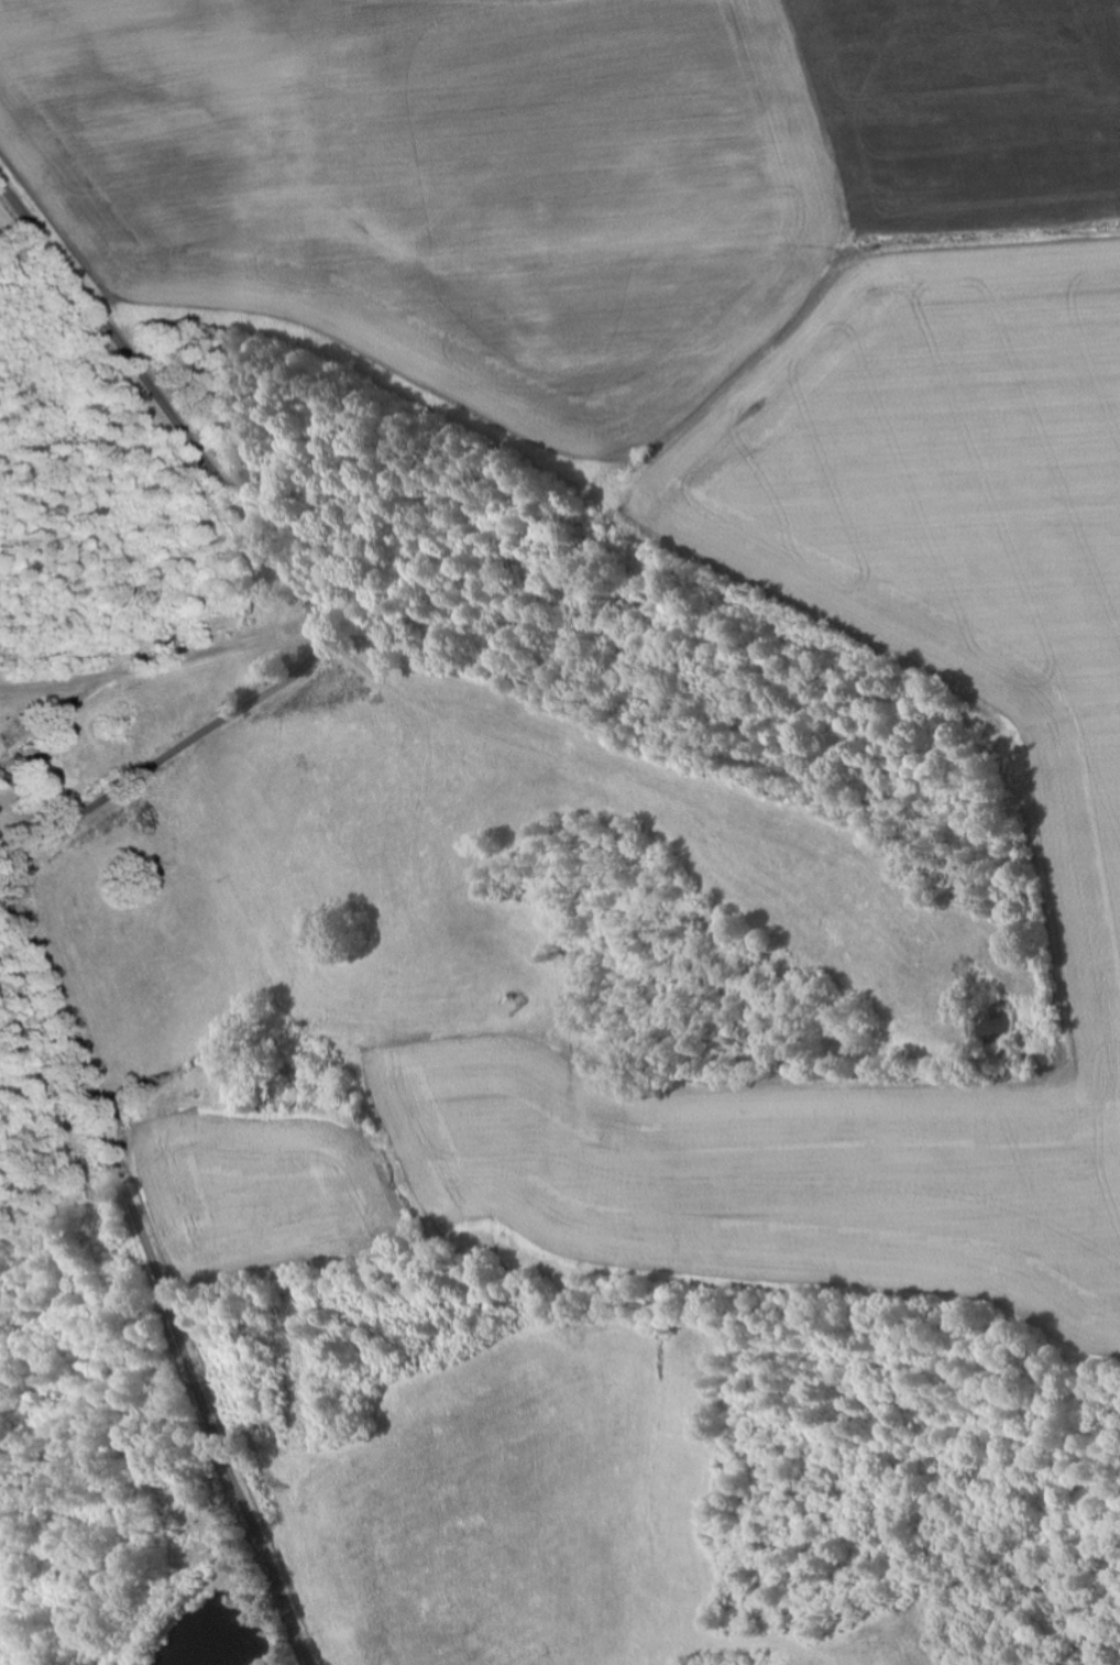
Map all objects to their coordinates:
road: (160, 662)
road: (52, 837)

